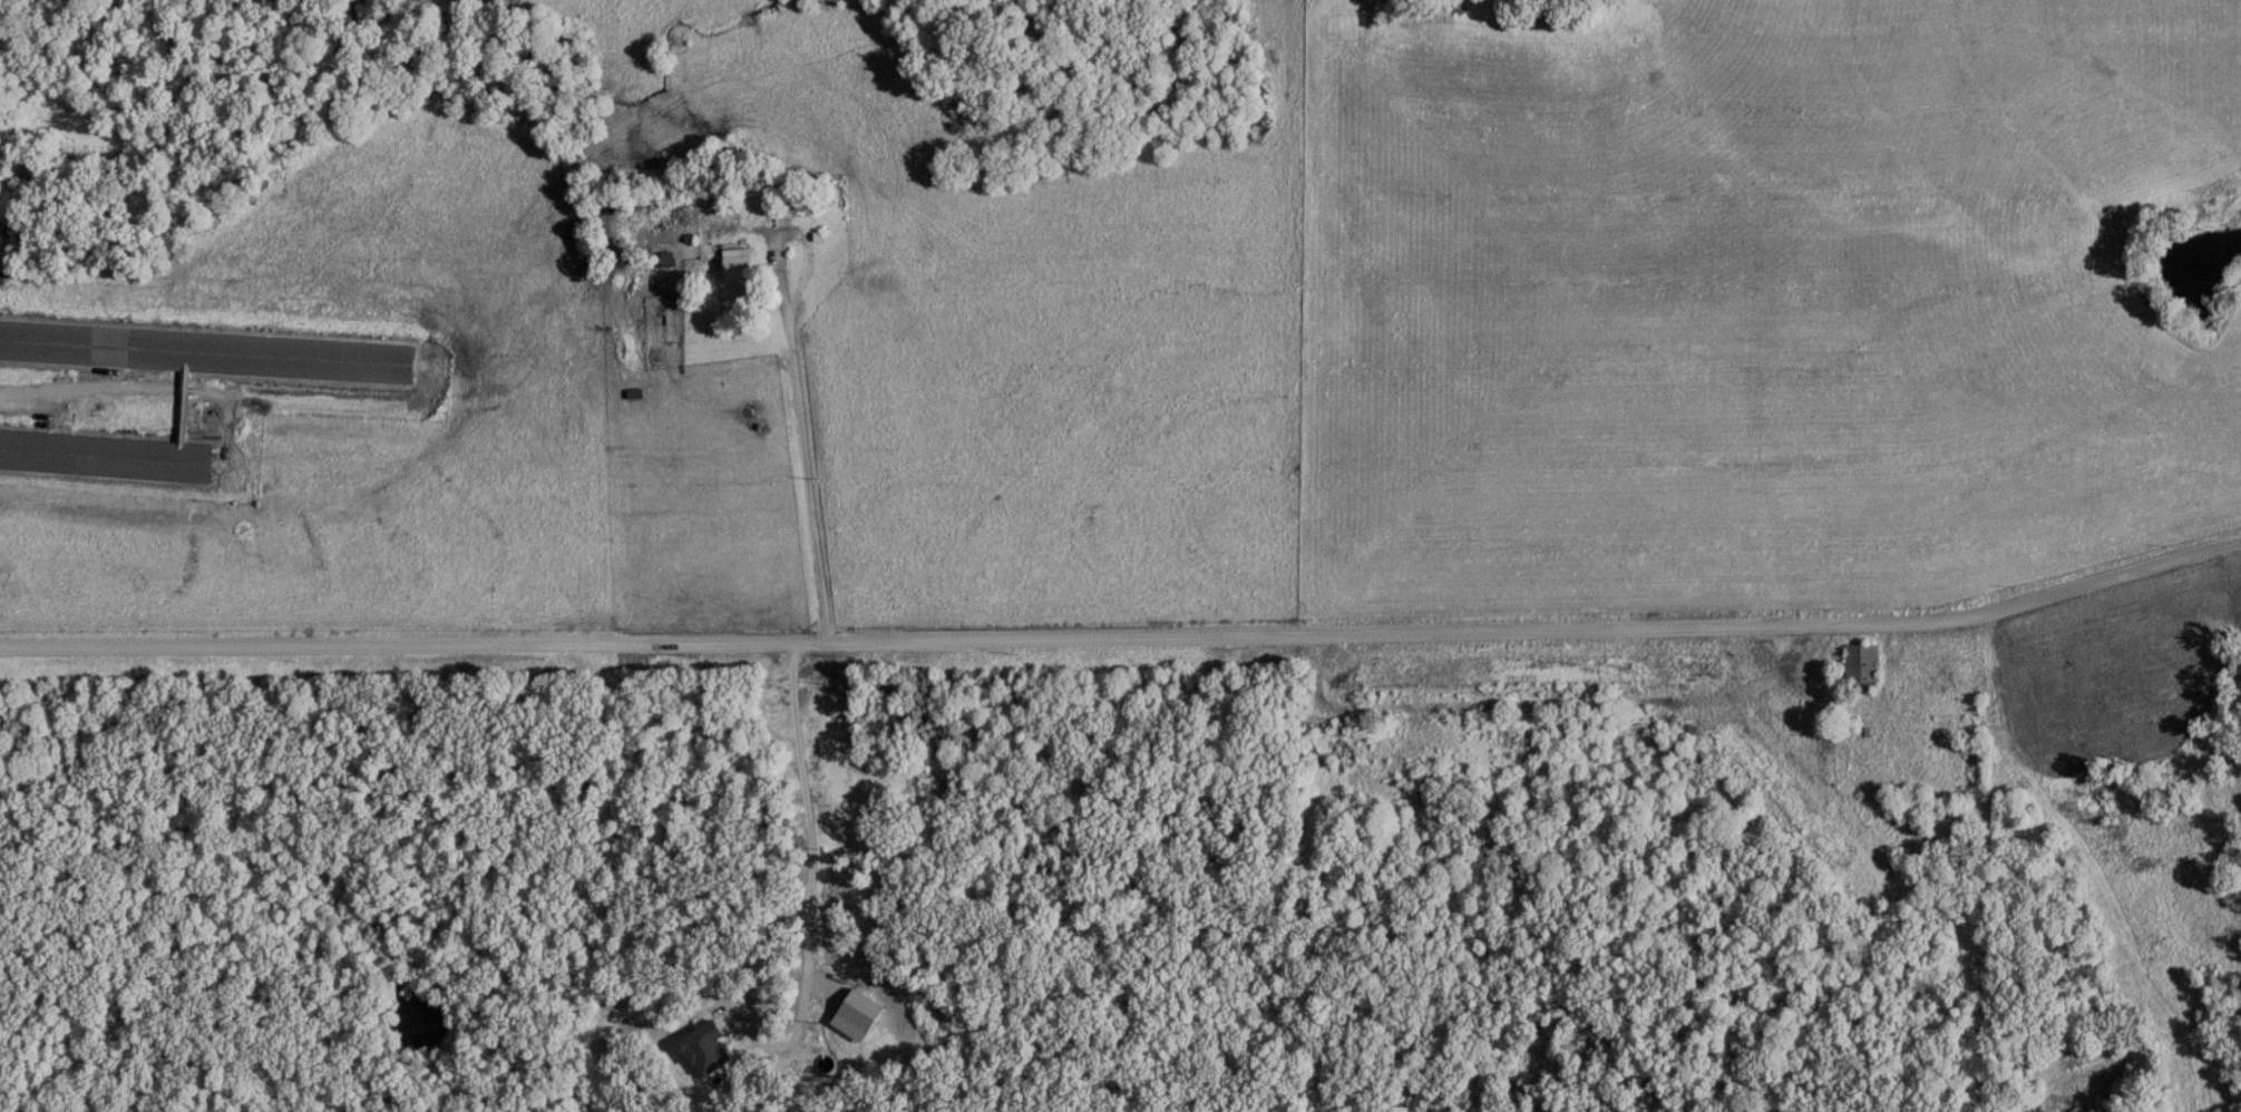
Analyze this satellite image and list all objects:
building: (742, 263)
building: (210, 350)
road: (84, 389)
building: (639, 391)
building: (107, 453)
road: (802, 474)
road: (1126, 636)
building: (1865, 665)
building: (1542, 667)
building: (2044, 705)
building: (1319, 722)
building: (1787, 789)
road: (805, 945)

